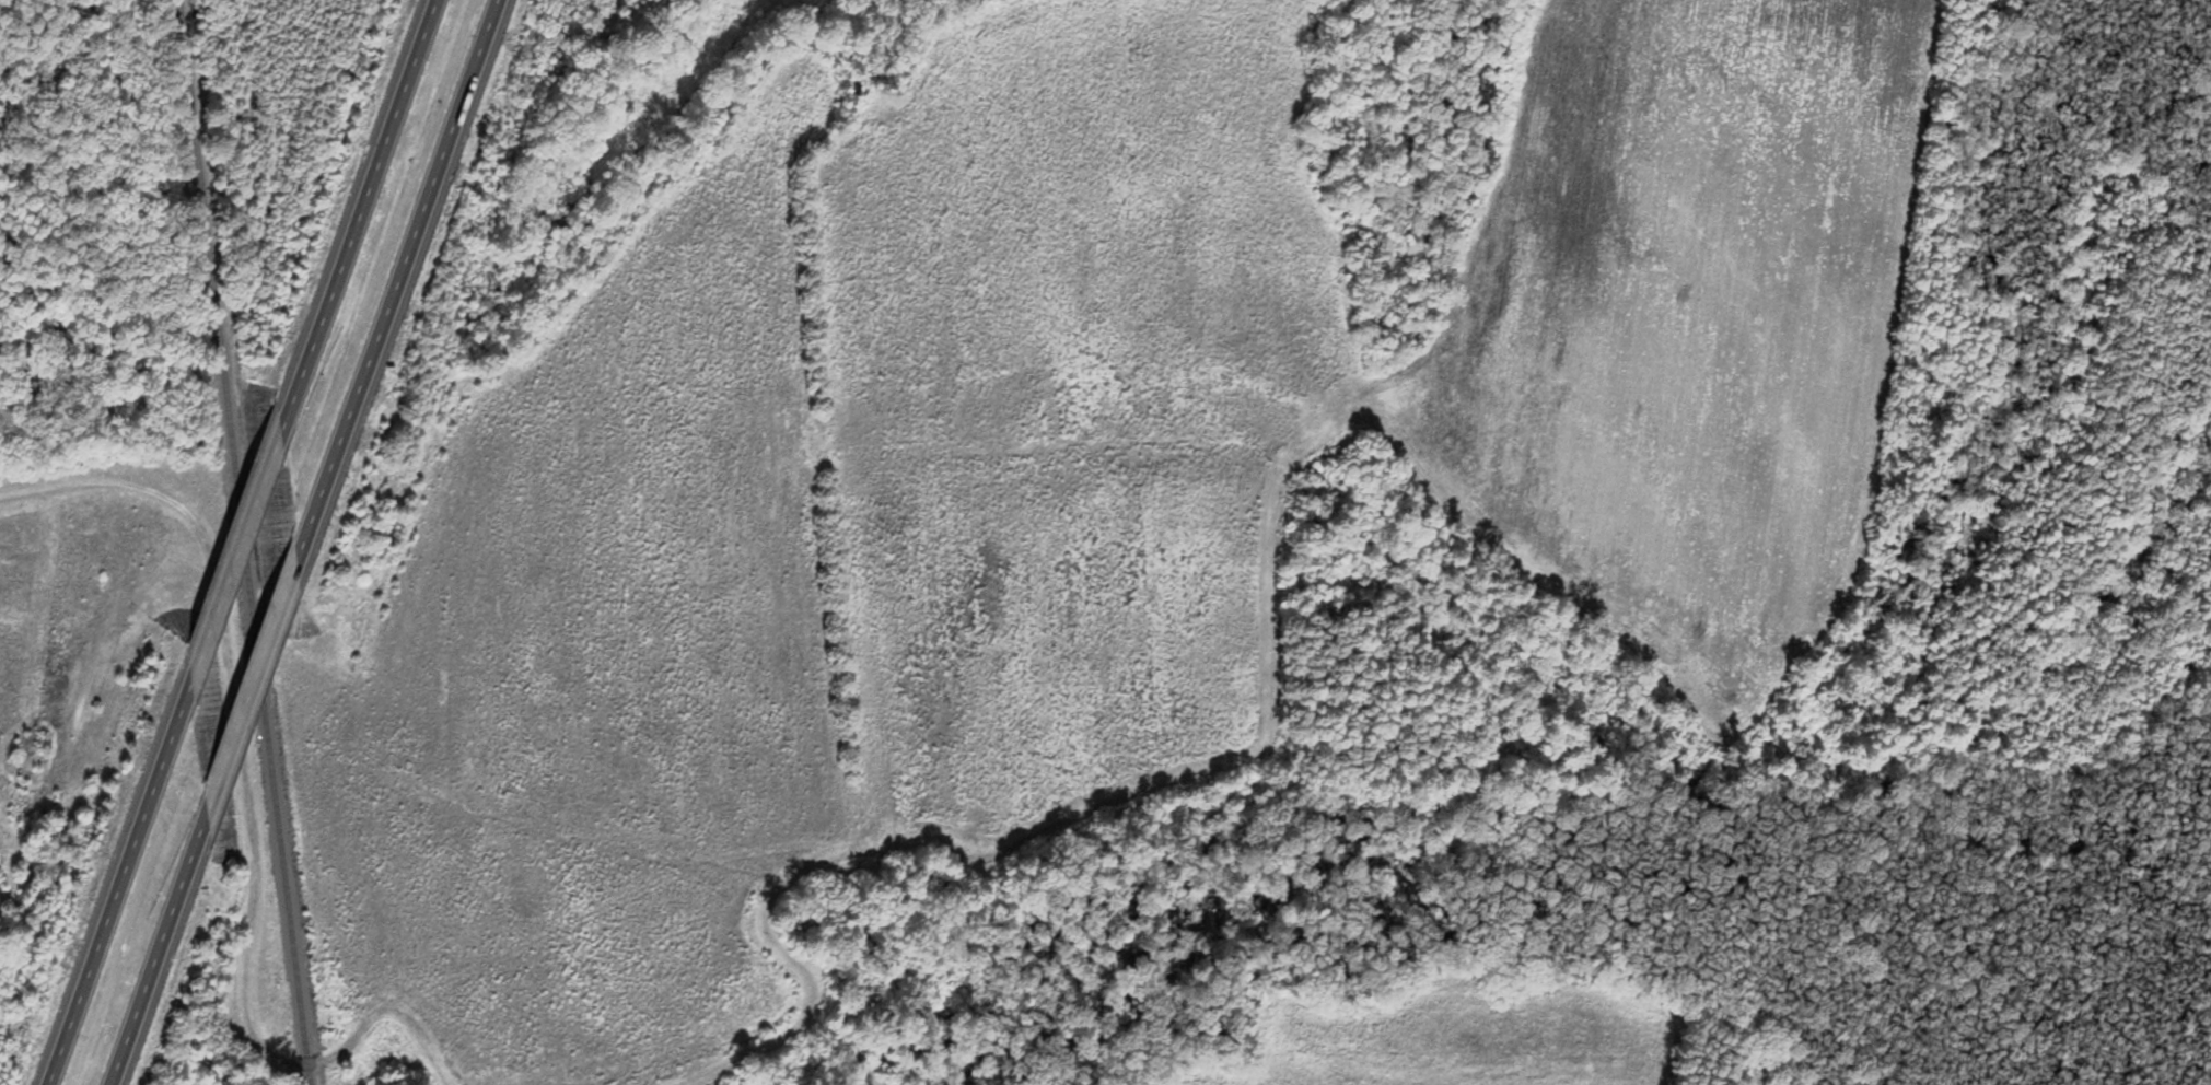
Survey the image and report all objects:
road: (353, 217)
road: (396, 282)
road: (112, 480)
railway: (245, 541)
road: (232, 559)
road: (254, 688)
road: (117, 885)
road: (161, 947)

